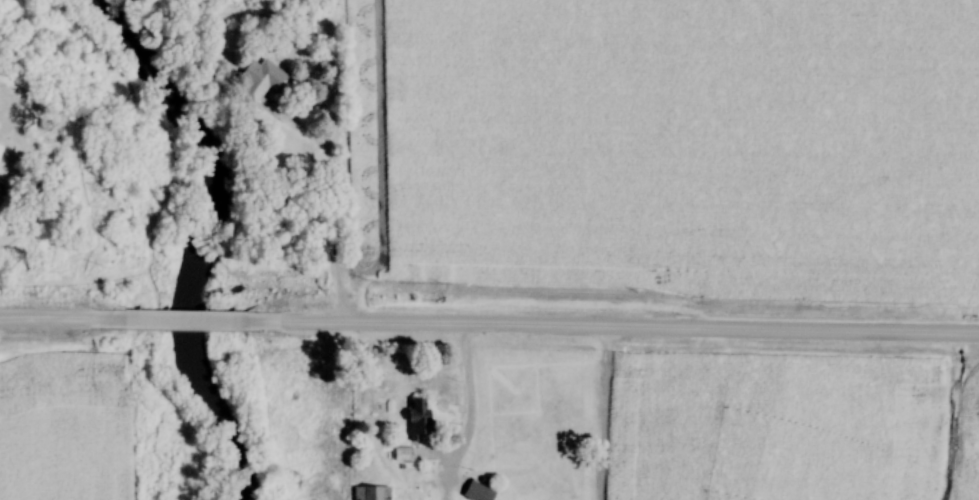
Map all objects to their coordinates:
building: (259, 80)
road: (336, 203)
river: (208, 233)
road: (62, 318)
road: (192, 321)
road: (619, 331)
road: (469, 417)
building: (412, 419)
building: (399, 453)
building: (368, 492)

